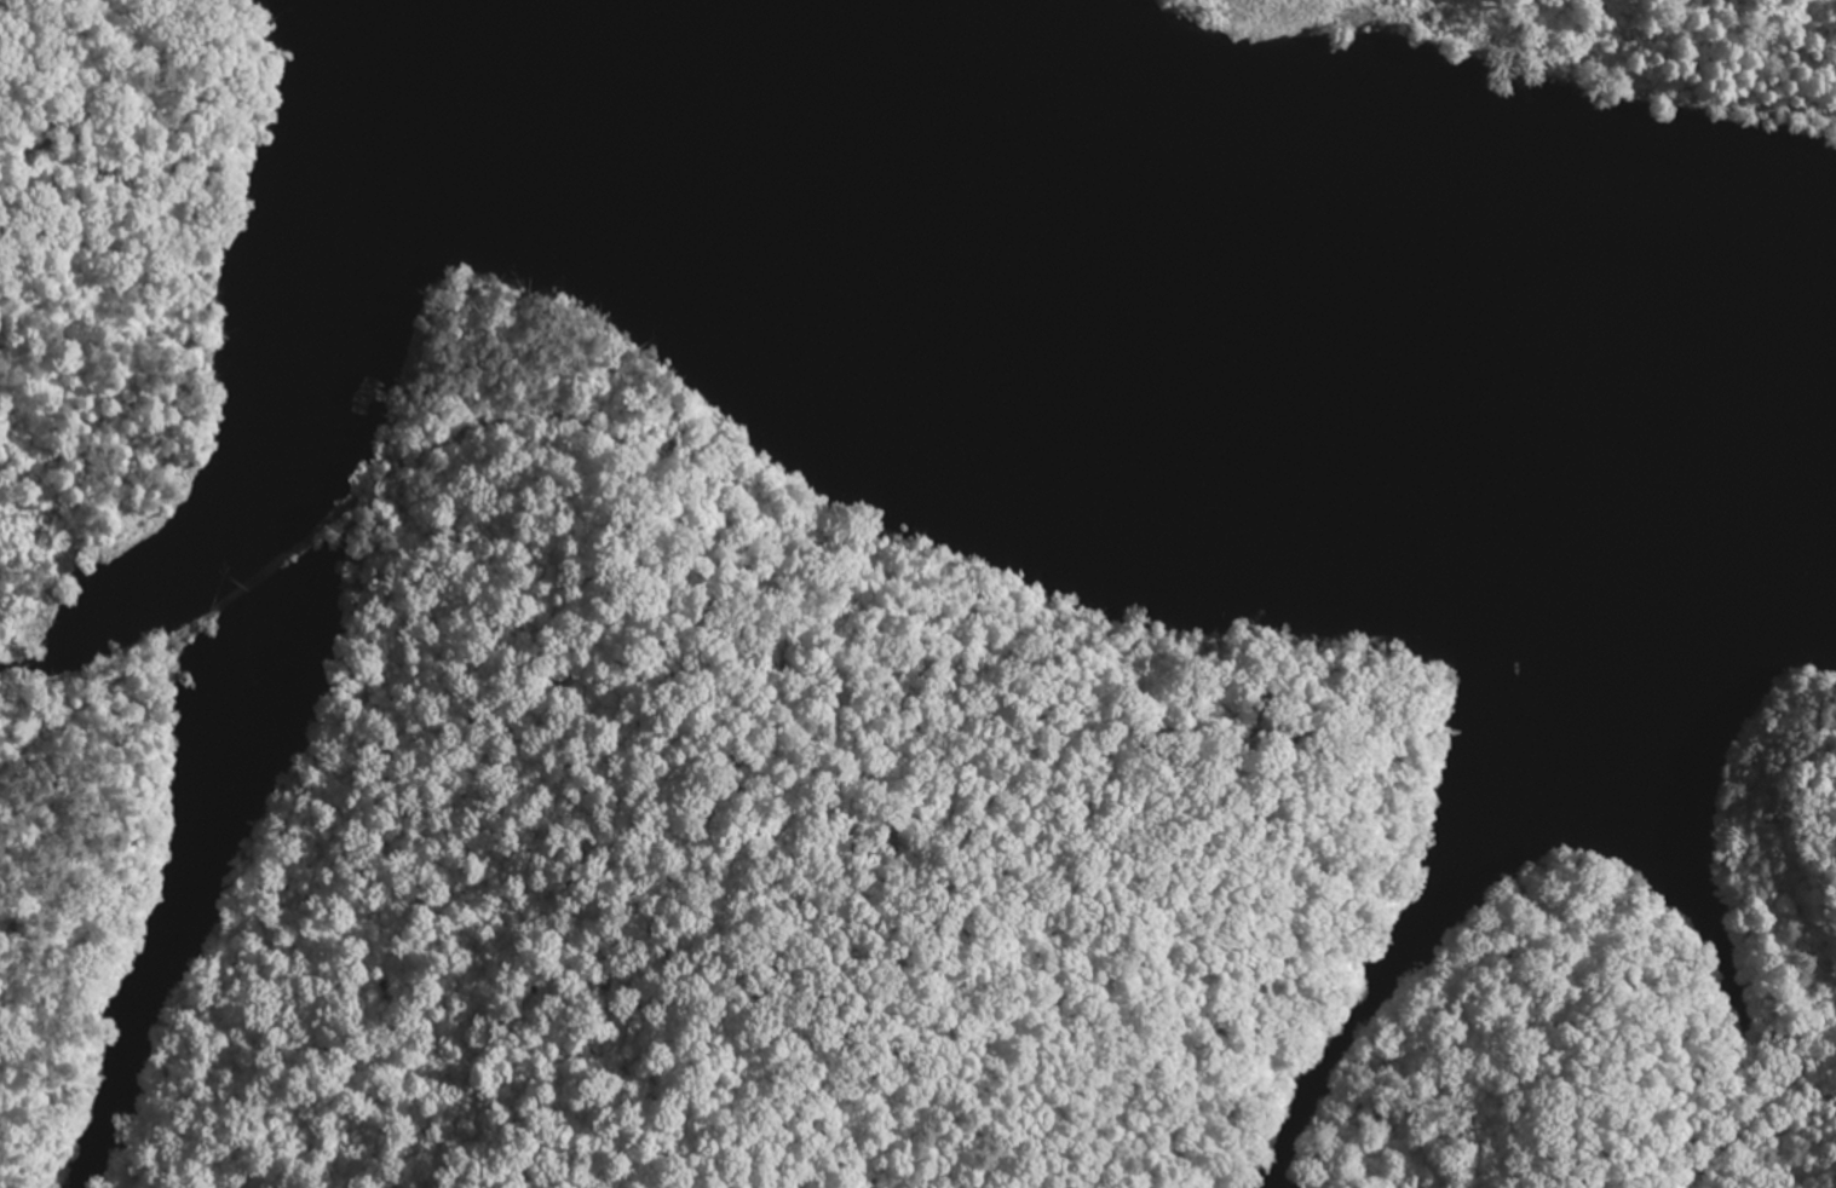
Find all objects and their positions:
river: (1265, 259)

